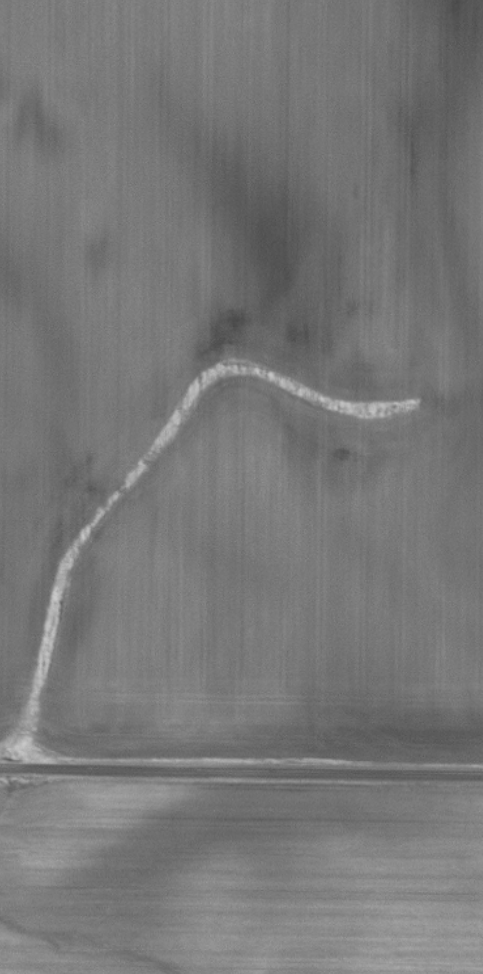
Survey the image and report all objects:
road: (241, 770)

